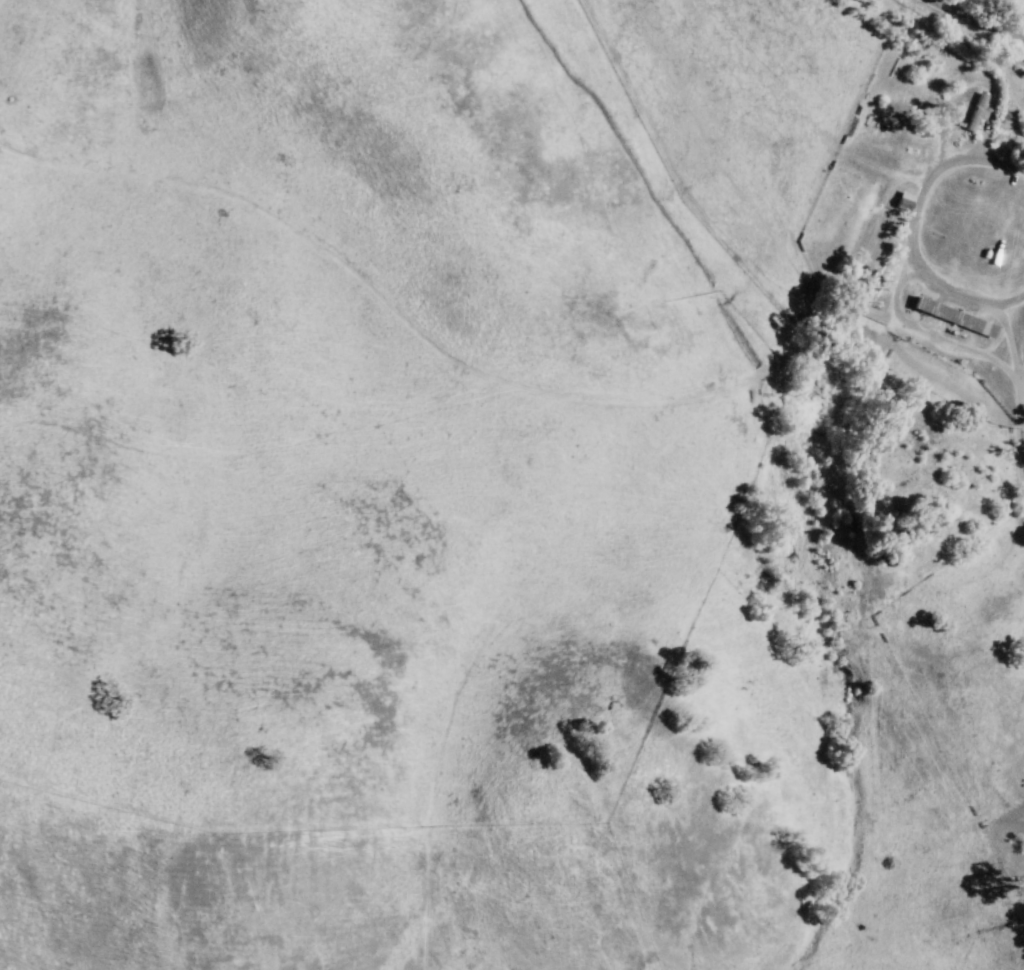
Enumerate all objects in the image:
road: (968, 25)
building: (920, 91)
building: (970, 122)
road: (917, 228)
building: (952, 320)
road: (924, 336)
road: (1010, 337)
road: (1010, 454)

